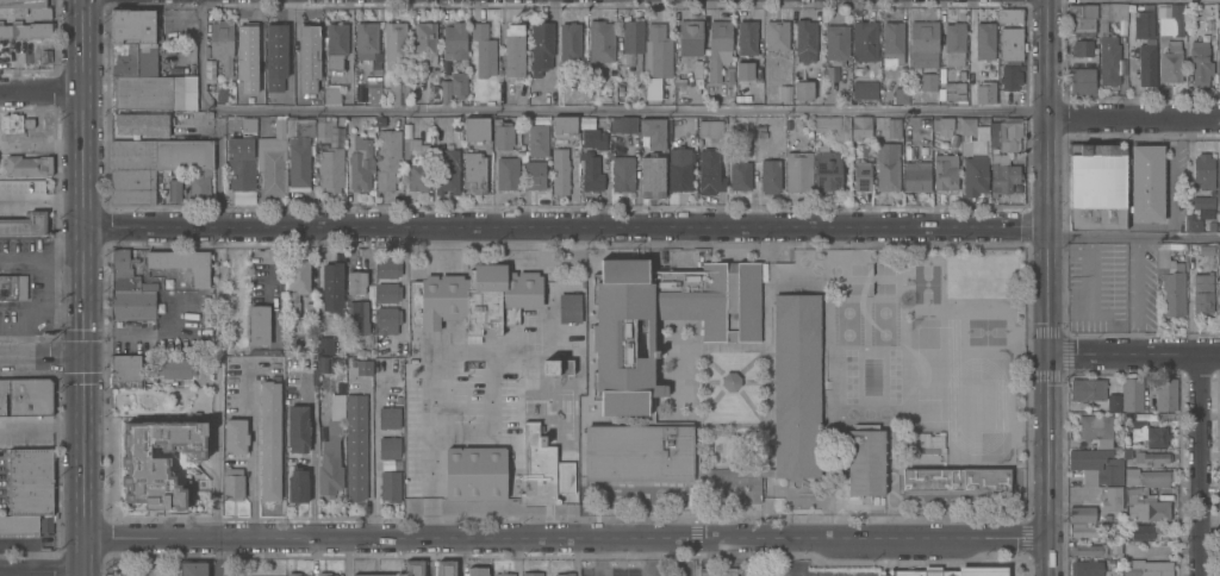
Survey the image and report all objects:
road: (1134, 0)
building: (21, 4)
building: (1118, 12)
building: (38, 13)
building: (1008, 15)
building: (1081, 18)
building: (1169, 19)
building: (1141, 23)
building: (1209, 25)
building: (133, 27)
building: (26, 30)
building: (776, 36)
building: (690, 38)
building: (247, 40)
building: (365, 40)
building: (0, 42)
building: (307, 42)
building: (454, 42)
building: (599, 42)
building: (804, 42)
building: (864, 42)
building: (984, 42)
building: (424, 43)
building: (568, 43)
building: (891, 44)
building: (923, 44)
building: (953, 44)
building: (1010, 44)
building: (220, 45)
building: (335, 45)
building: (393, 45)
building: (631, 45)
building: (835, 45)
building: (274, 46)
building: (541, 48)
building: (717, 49)
building: (1081, 49)
building: (742, 50)
building: (483, 51)
building: (513, 51)
building: (206, 52)
building: (656, 52)
building: (1107, 52)
building: (1218, 58)
building: (132, 60)
building: (1170, 63)
building: (1199, 64)
building: (1146, 65)
building: (208, 71)
building: (991, 71)
building: (1009, 79)
building: (1081, 81)
building: (928, 82)
building: (257, 84)
building: (457, 86)
building: (651, 89)
building: (372, 90)
building: (802, 90)
building: (864, 90)
road: (42, 92)
building: (396, 92)
building: (444, 92)
building: (620, 92)
building: (953, 92)
building: (142, 93)
building: (186, 93)
building: (784, 93)
building: (984, 93)
building: (284, 95)
building: (330, 95)
building: (901, 96)
building: (845, 100)
building: (709, 101)
road: (572, 114)
road: (1048, 114)
building: (27, 123)
building: (379, 123)
building: (516, 123)
road: (1134, 123)
building: (142, 124)
building: (248, 125)
building: (564, 125)
building: (622, 125)
building: (945, 126)
building: (760, 127)
building: (859, 127)
building: (967, 127)
building: (709, 129)
building: (892, 129)
building: (323, 130)
building: (475, 130)
building: (653, 133)
building: (761, 134)
building: (1008, 134)
building: (502, 137)
building: (592, 137)
building: (537, 140)
building: (161, 155)
building: (830, 155)
building: (925, 158)
building: (272, 159)
building: (386, 159)
building: (997, 159)
building: (298, 162)
building: (413, 162)
building: (239, 163)
building: (331, 165)
building: (26, 167)
building: (886, 167)
building: (913, 168)
building: (973, 168)
building: (679, 169)
building: (360, 170)
building: (446, 171)
building: (558, 171)
building: (1202, 171)
building: (592, 173)
building: (709, 173)
building: (797, 173)
building: (945, 173)
building: (474, 174)
building: (506, 174)
building: (533, 174)
building: (622, 174)
building: (739, 175)
building: (770, 176)
building: (860, 176)
building: (652, 177)
building: (1003, 177)
building: (1146, 183)
building: (1218, 184)
building: (132, 187)
building: (172, 187)
building: (1096, 187)
building: (1199, 213)
building: (24, 225)
road: (567, 228)
road: (1134, 240)
building: (1206, 250)
building: (1218, 258)
building: (181, 264)
building: (387, 269)
road: (279, 270)
building: (1170, 283)
building: (331, 286)
road: (83, 287)
building: (295, 287)
building: (566, 287)
building: (12, 288)
building: (129, 290)
road: (1048, 290)
building: (387, 294)
building: (1202, 294)
building: (1219, 295)
building: (475, 299)
building: (355, 302)
building: (568, 308)
building: (309, 309)
building: (118, 321)
building: (386, 321)
building: (257, 326)
building: (325, 346)
road: (436, 349)
building: (351, 350)
road: (1134, 352)
road: (42, 361)
traffic signals: (83, 361)
building: (323, 367)
building: (555, 368)
building: (174, 369)
building: (365, 369)
building: (124, 371)
building: (623, 382)
building: (729, 382)
building: (796, 387)
building: (1087, 390)
building: (1165, 394)
building: (1132, 395)
building: (26, 396)
building: (1112, 403)
building: (388, 419)
building: (297, 430)
building: (1095, 430)
building: (1149, 433)
building: (235, 437)
building: (268, 440)
building: (926, 444)
building: (355, 446)
building: (388, 449)
building: (330, 451)
building: (930, 453)
building: (1126, 453)
road: (368, 459)
building: (1151, 459)
road: (254, 461)
building: (865, 461)
building: (157, 463)
road: (1046, 463)
road: (1205, 464)
building: (1096, 467)
building: (541, 470)
building: (766, 472)
building: (453, 474)
building: (483, 474)
building: (1147, 478)
building: (29, 481)
road: (214, 482)
building: (956, 482)
building: (231, 484)
building: (297, 486)
building: (388, 487)
building: (1112, 500)
building: (1147, 511)
building: (1081, 515)
building: (18, 526)
building: (1144, 530)
building: (1085, 531)
road: (564, 540)
building: (1149, 544)
building: (1115, 549)
building: (1089, 550)
road: (214, 557)
road: (344, 558)
road: (461, 558)
road: (516, 558)
road: (575, 558)
building: (413, 568)
building: (446, 568)
building: (1085, 568)
building: (1147, 568)
building: (192, 569)
building: (972, 570)
building: (997, 570)
road: (42, 571)
building: (478, 571)
building: (718, 571)
building: (915, 571)
building: (941, 571)
building: (894, 572)
building: (1113, 572)
building: (530, 574)
building: (292, 575)
building: (323, 575)
building: (369, 575)
building: (503, 575)
building: (564, 575)

